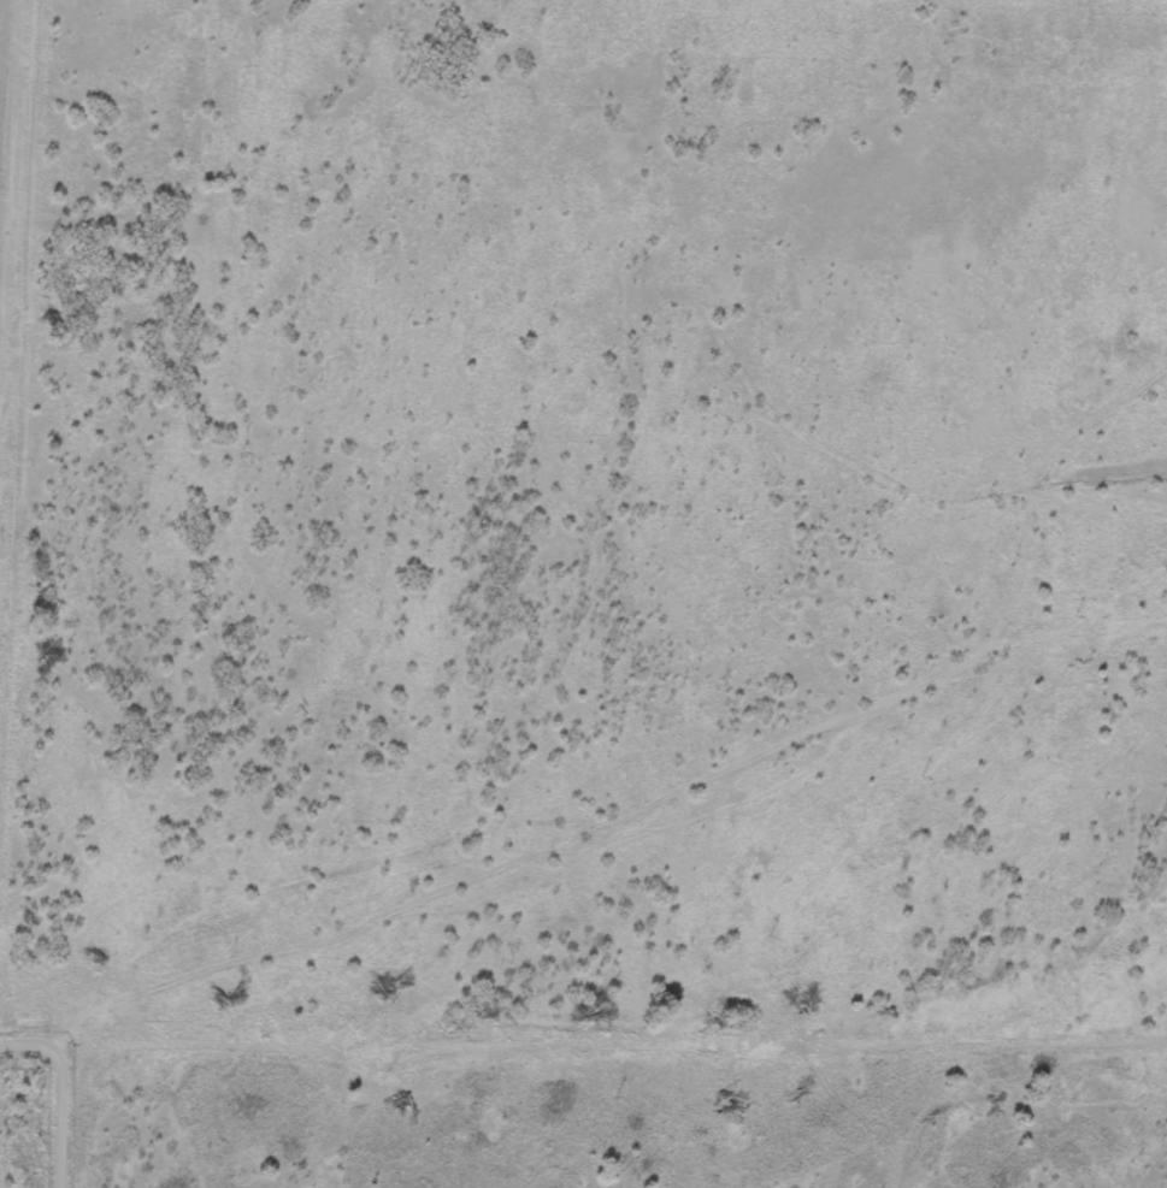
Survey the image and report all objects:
road: (65, 1092)

